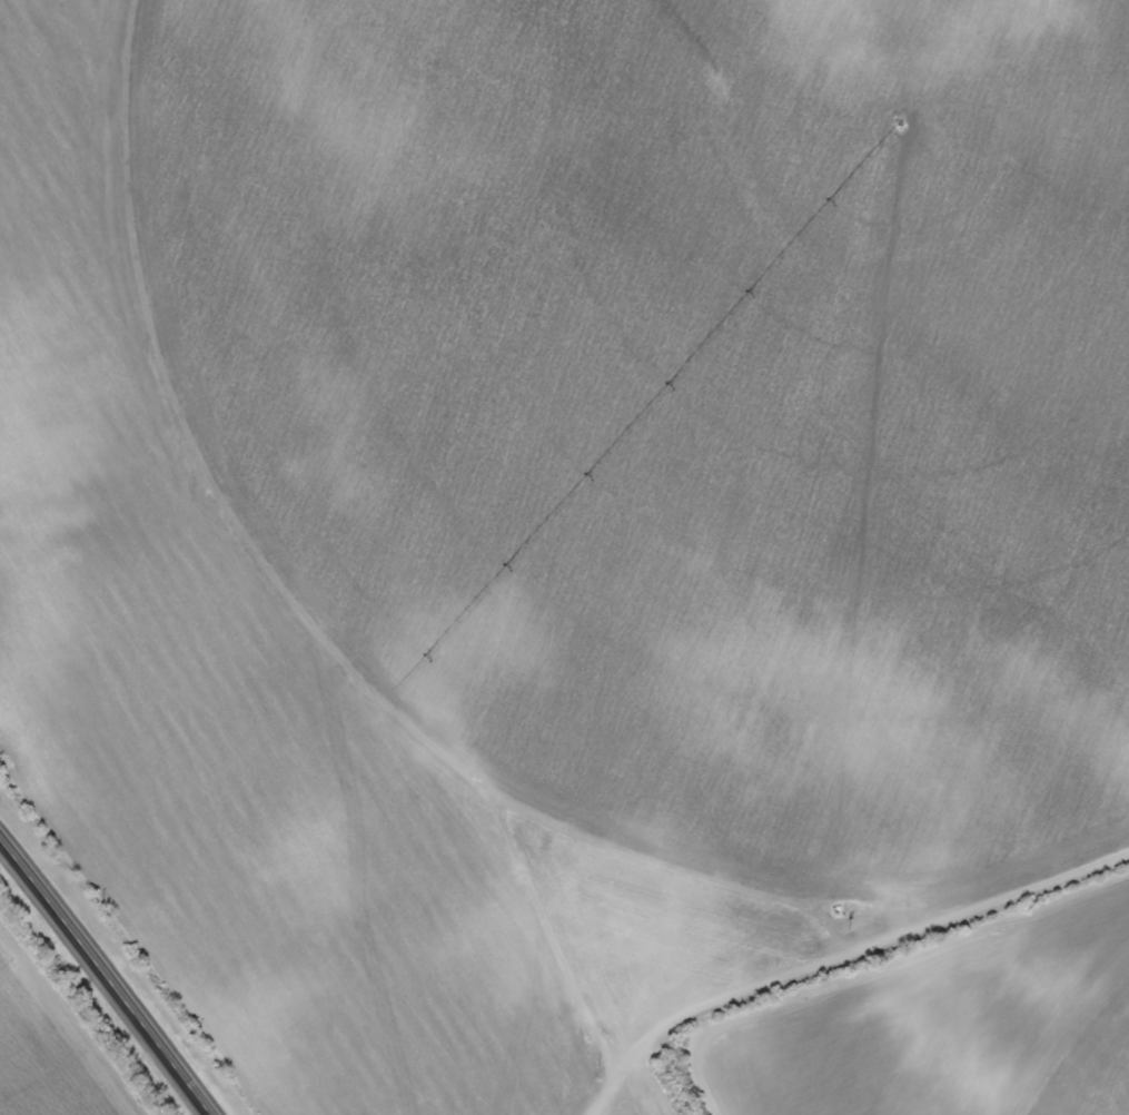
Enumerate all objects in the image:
railway: (138, 938)
road: (106, 977)

